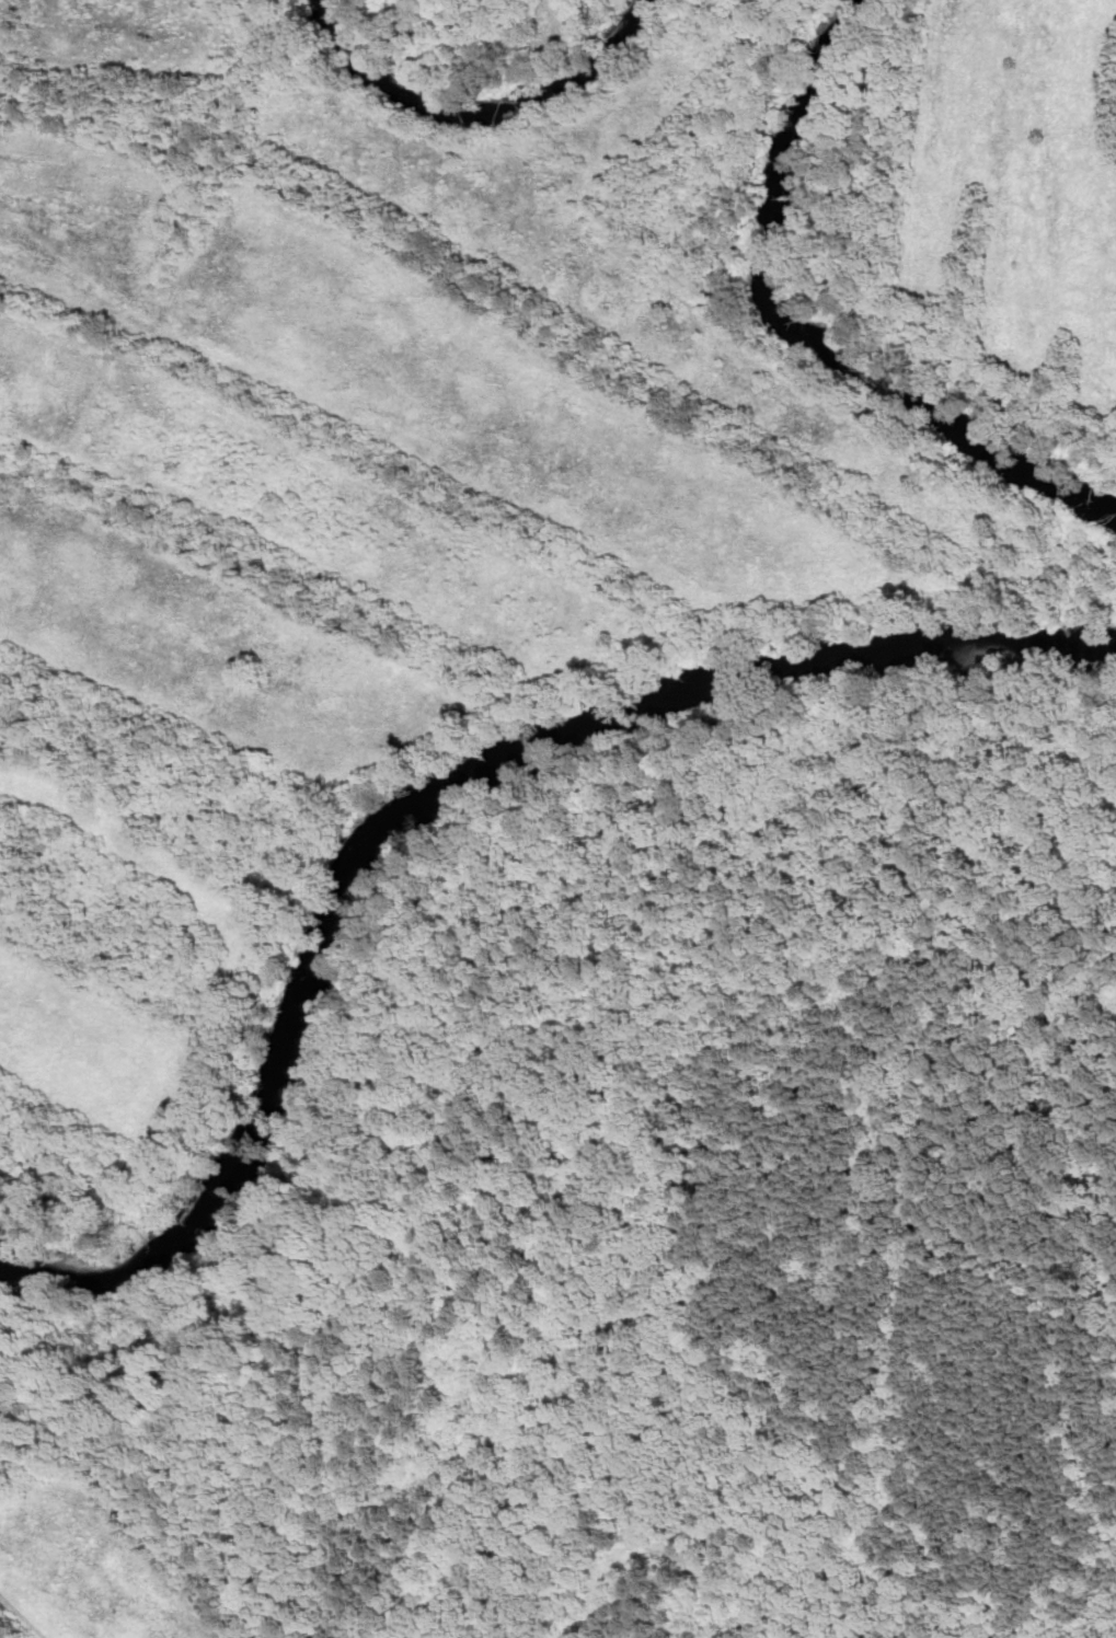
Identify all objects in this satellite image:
river: (482, 118)
river: (802, 335)
river: (427, 800)
road: (435, 1192)
road: (1102, 1620)

